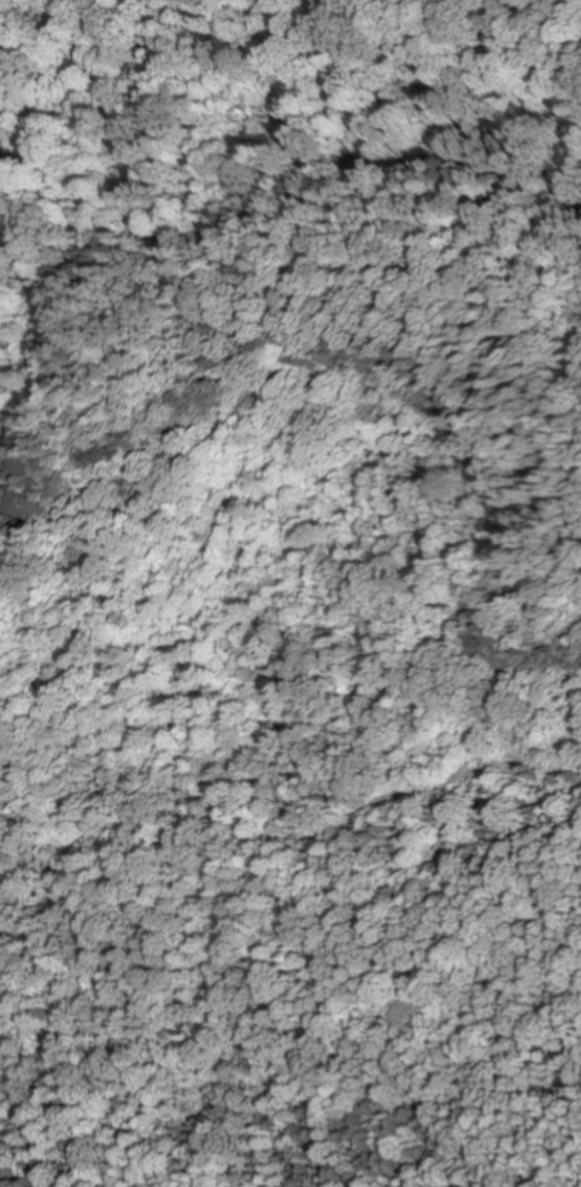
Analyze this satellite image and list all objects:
road: (511, 42)
road: (533, 209)
road: (293, 273)

